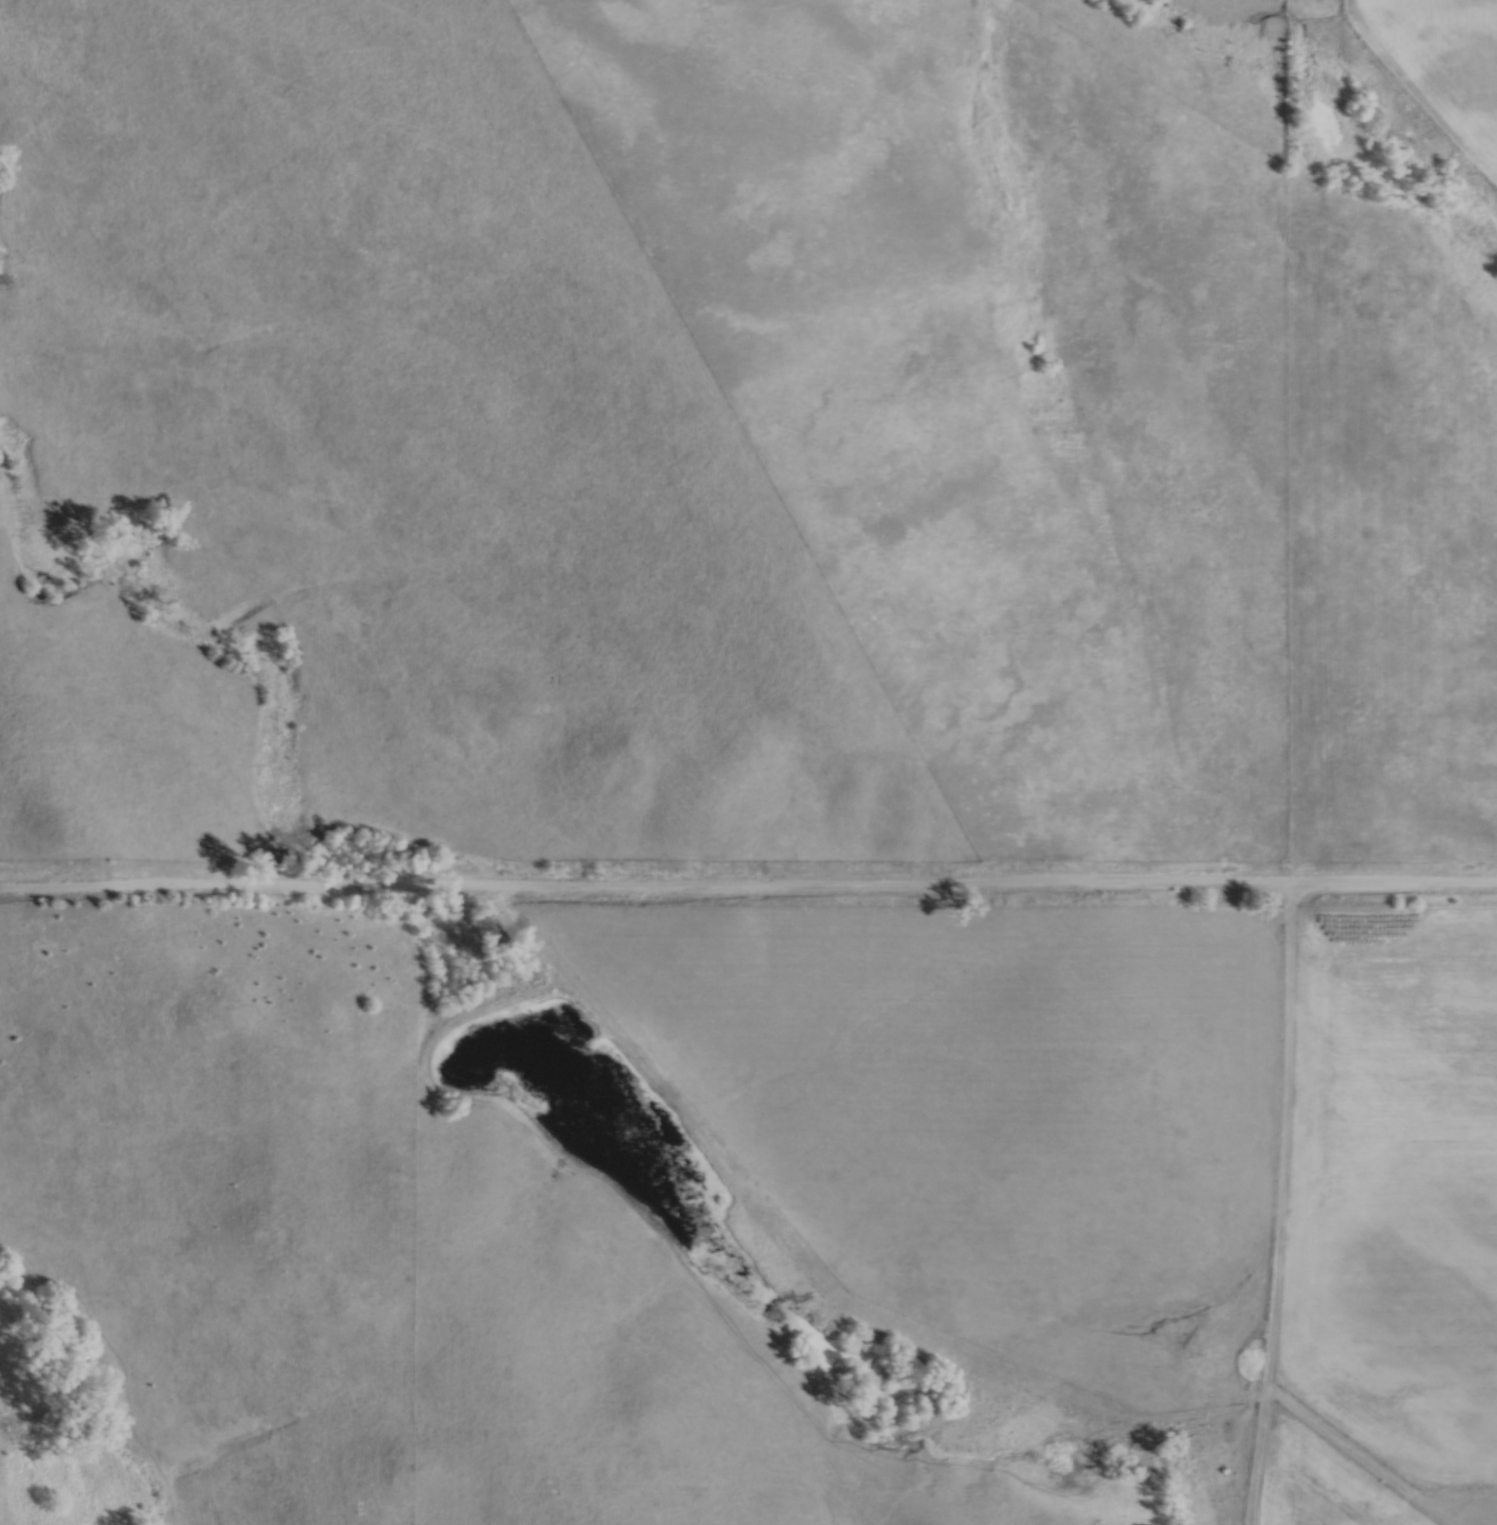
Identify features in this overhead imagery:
road: (748, 890)

